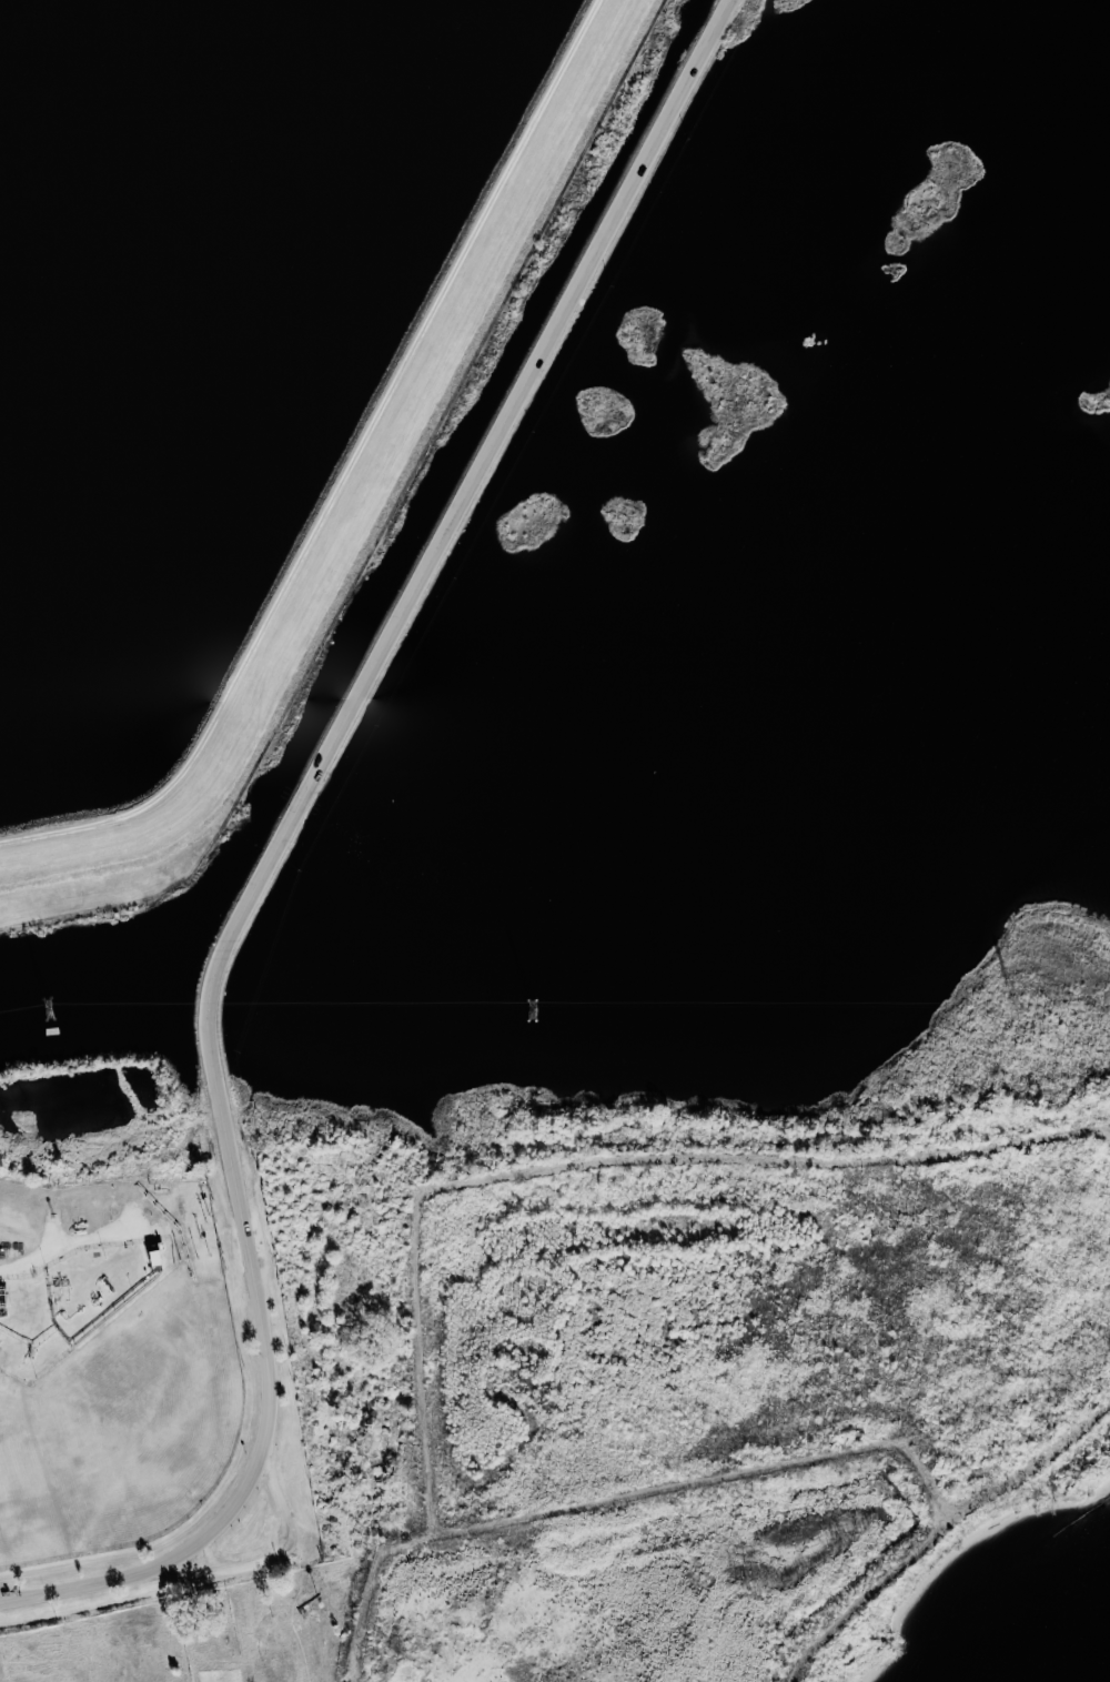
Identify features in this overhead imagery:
road: (336, 467)
road: (284, 842)
power tower: (535, 1003)
power tower: (63, 1007)
power tower: (1017, 1010)
road: (88, 1165)
road: (279, 1494)
road: (234, 1574)

